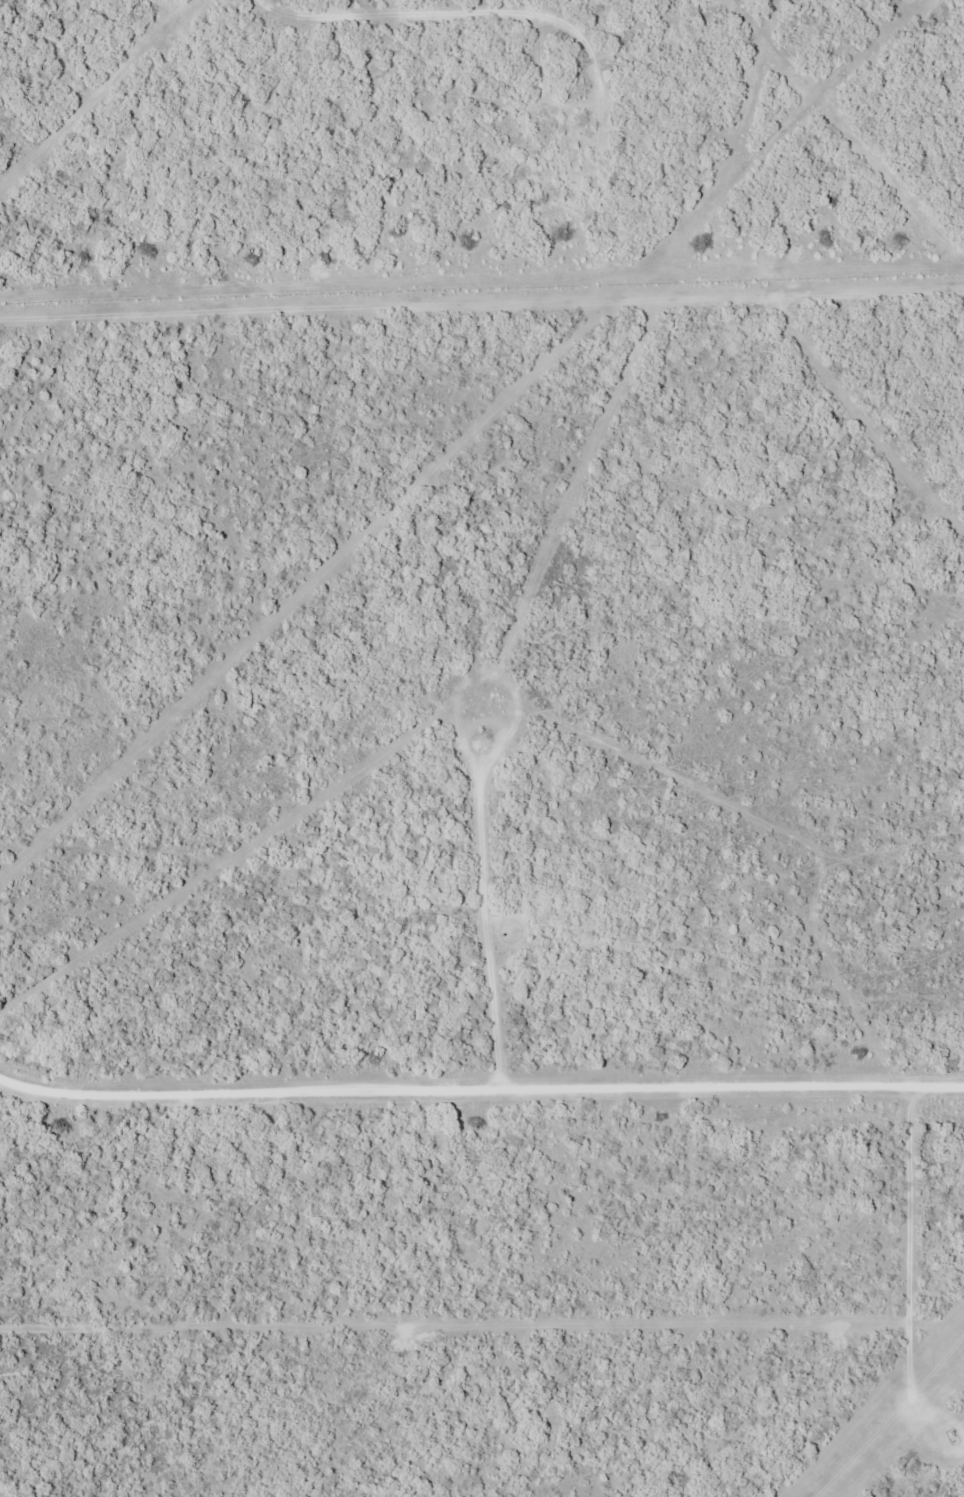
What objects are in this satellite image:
road: (476, 849)
road: (481, 1062)

